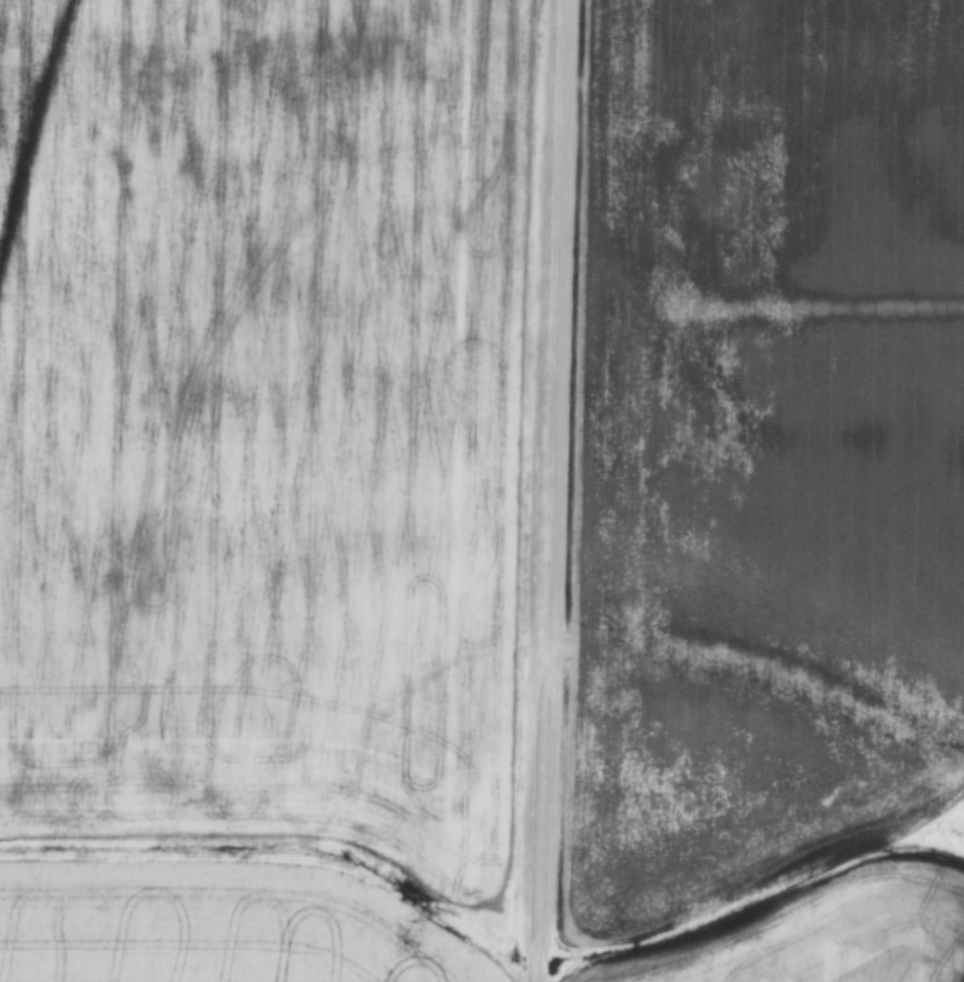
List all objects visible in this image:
crop: (263, 420)
road: (548, 491)
crop: (768, 491)
crop: (216, 927)

